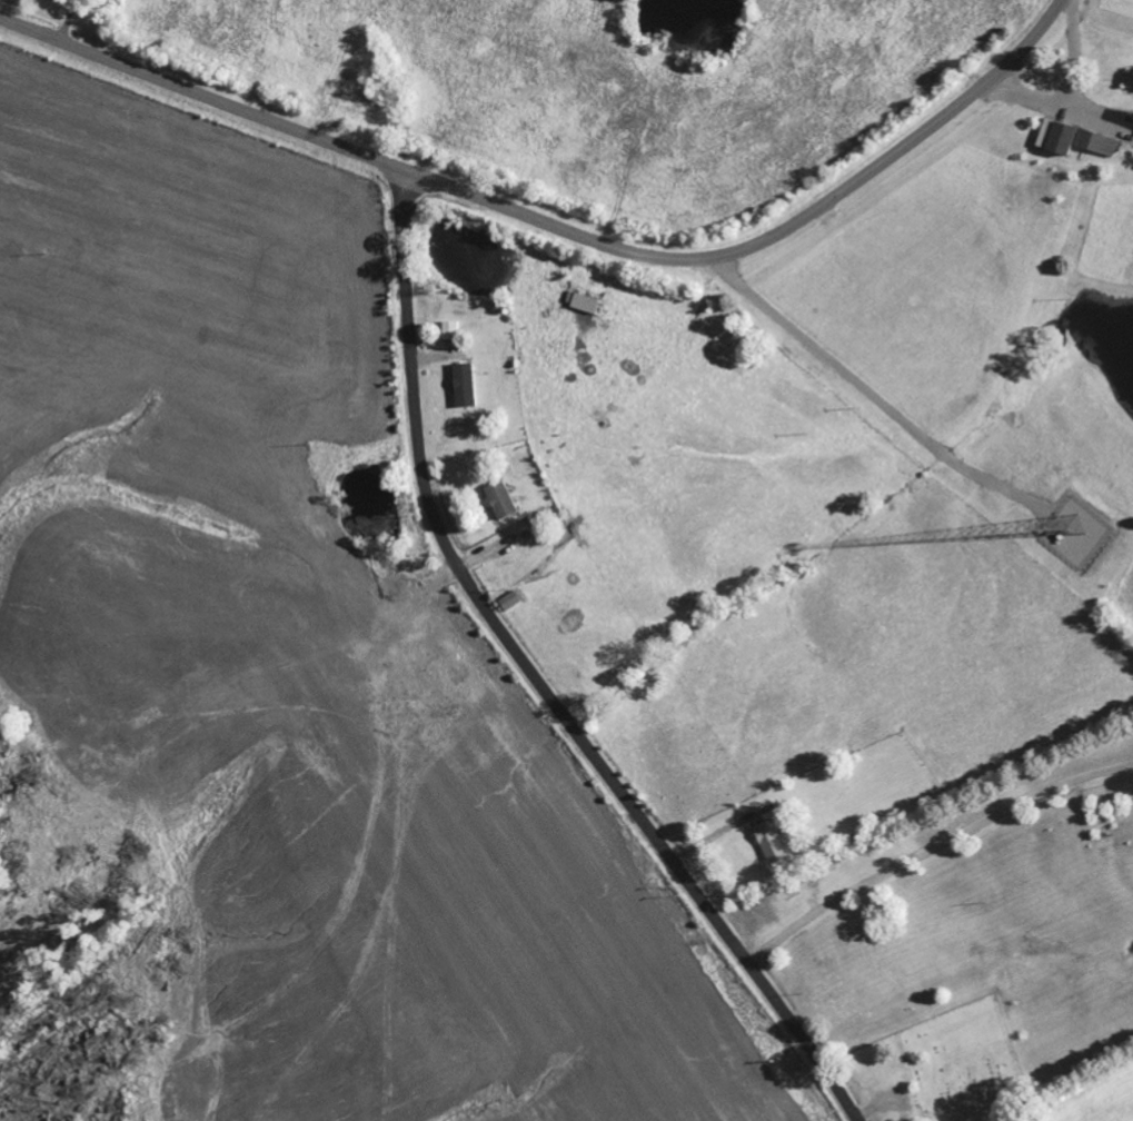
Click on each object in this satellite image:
building: (1077, 139)
road: (558, 228)
building: (589, 302)
building: (454, 330)
building: (468, 386)
building: (505, 500)
road: (539, 679)
building: (775, 842)
park: (967, 1064)

